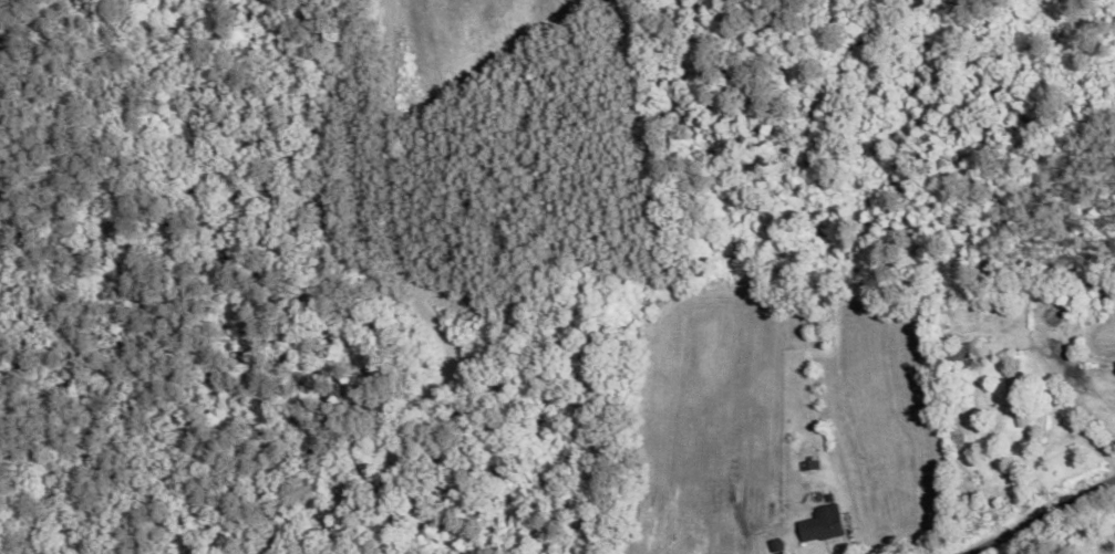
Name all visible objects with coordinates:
building: (959, 358)
building: (795, 381)
building: (1018, 403)
road: (1035, 514)
building: (822, 526)

